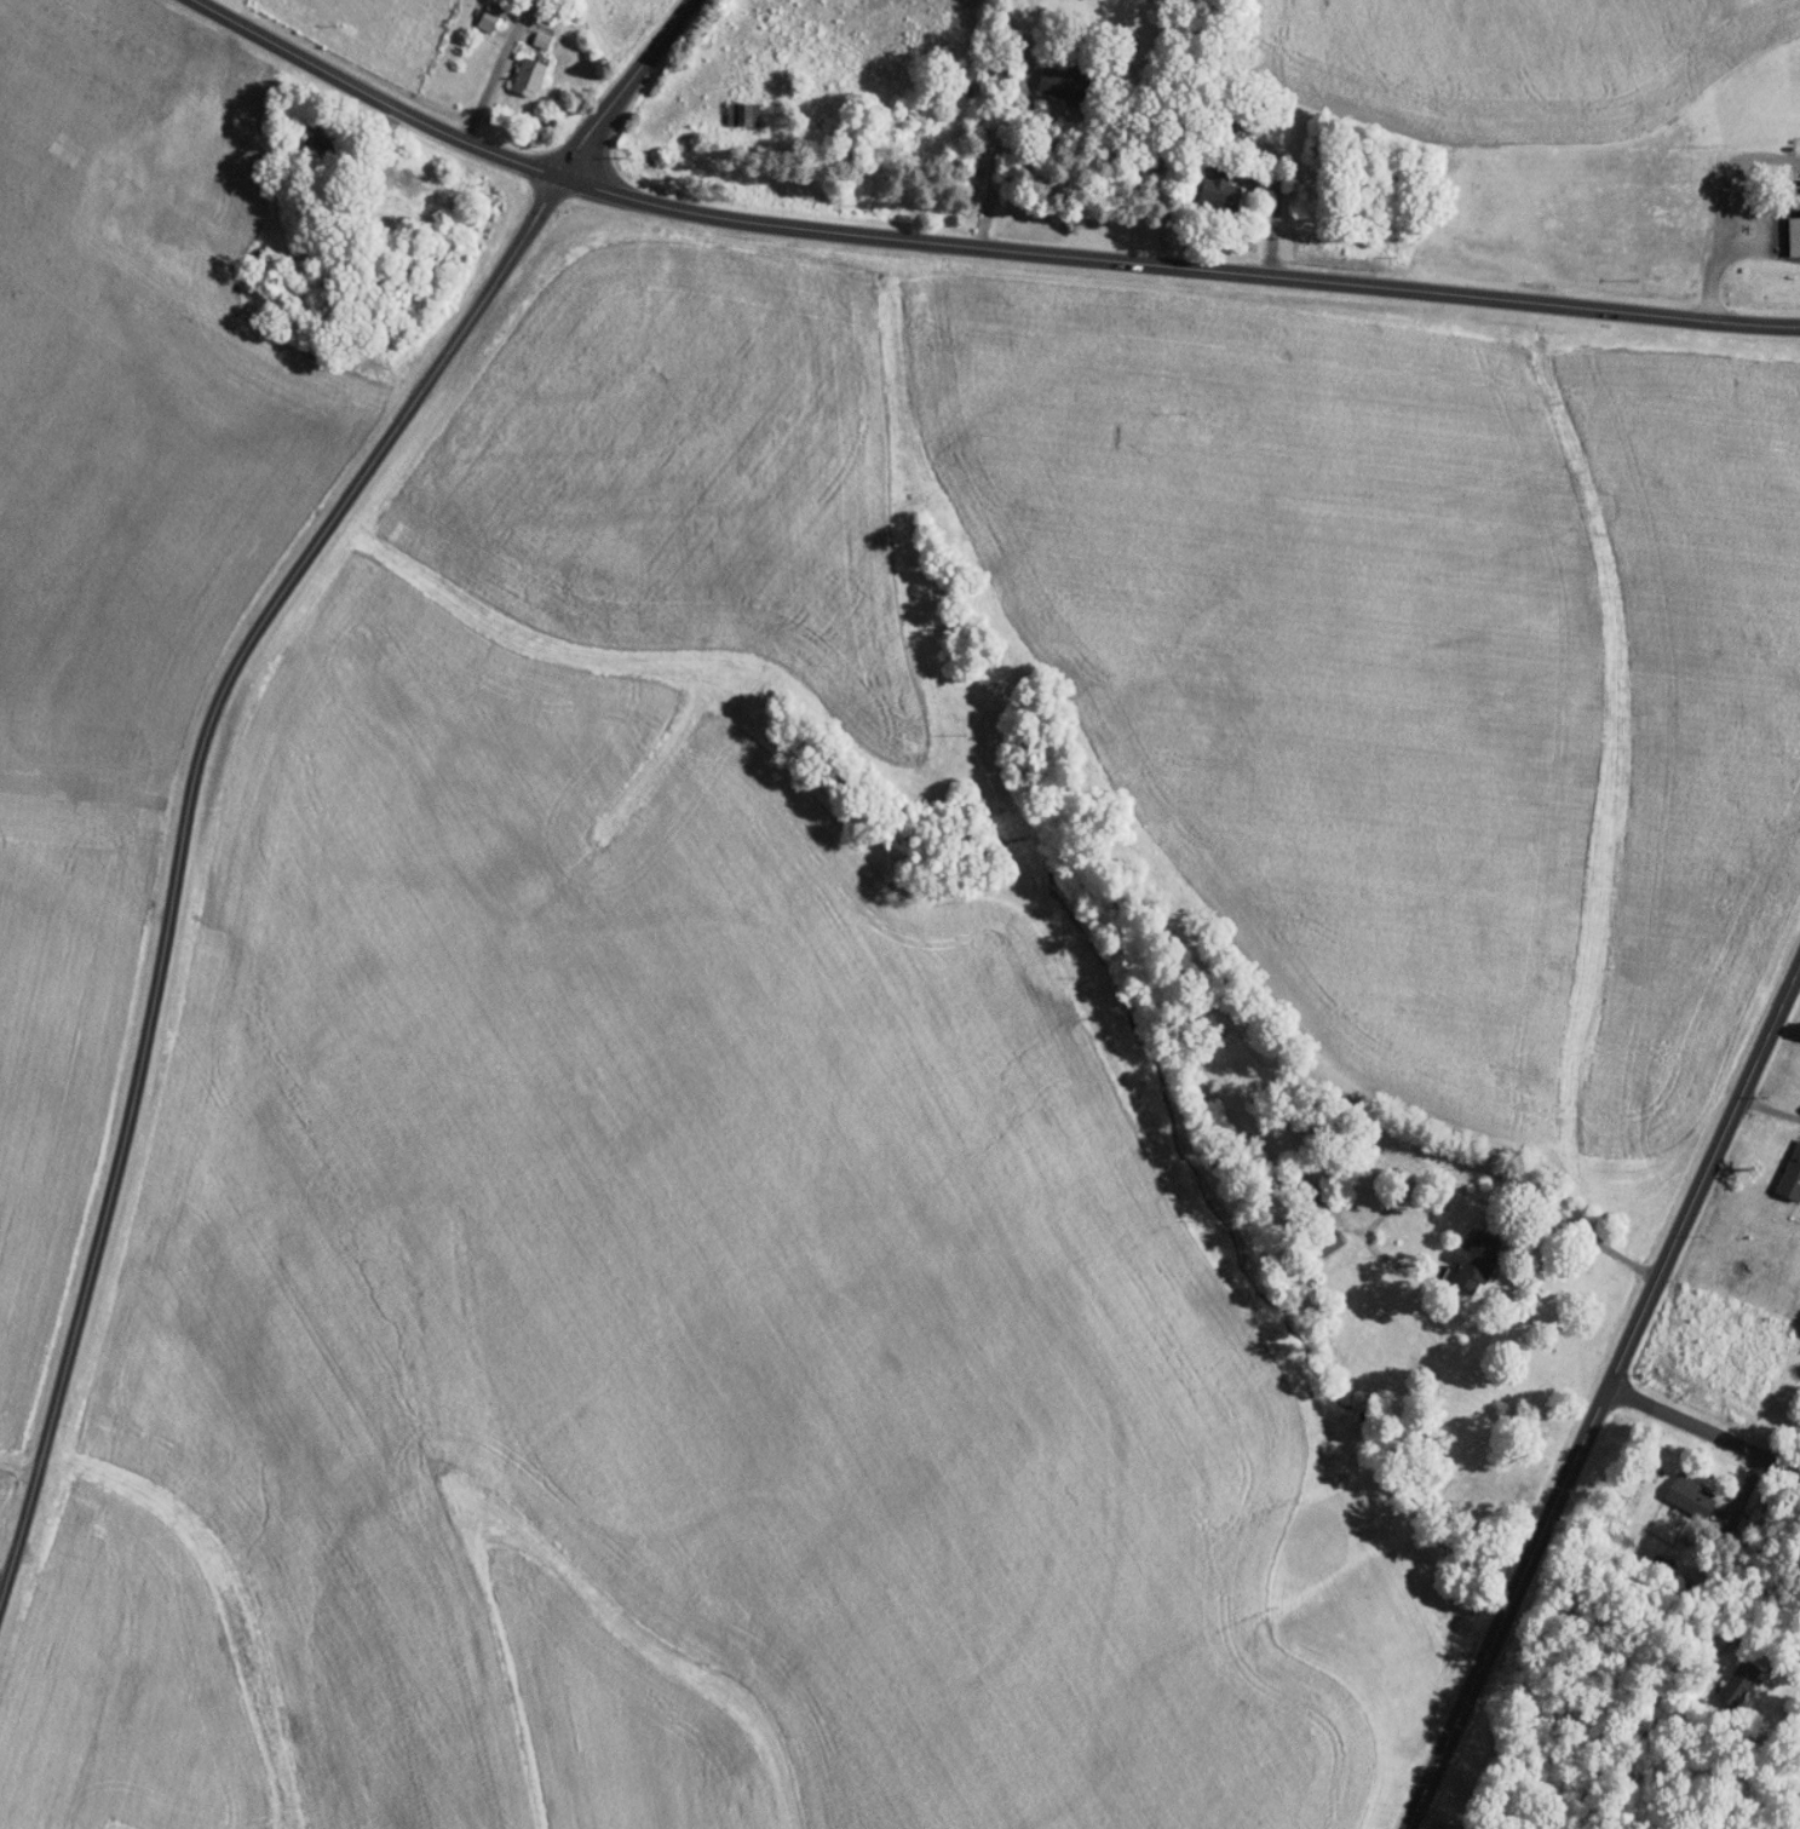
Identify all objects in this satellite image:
building: (490, 17)
road: (510, 33)
building: (542, 40)
building: (531, 75)
building: (1070, 86)
road: (625, 88)
road: (478, 103)
building: (746, 113)
road: (363, 146)
road: (398, 149)
road: (1735, 165)
road: (1007, 169)
road: (1221, 234)
building: (1793, 235)
road: (496, 238)
road: (1755, 241)
road: (974, 246)
road: (180, 840)
road: (1799, 968)
road: (1769, 1109)
building: (1792, 1178)
building: (1311, 1208)
road: (1588, 1236)
building: (1328, 1241)
building: (1473, 1260)
road: (1603, 1396)
road: (1704, 1428)
road: (1748, 1484)
building: (1690, 1494)
building: (1662, 1563)
building: (1715, 1637)
road: (1781, 1670)
building: (1738, 1680)

